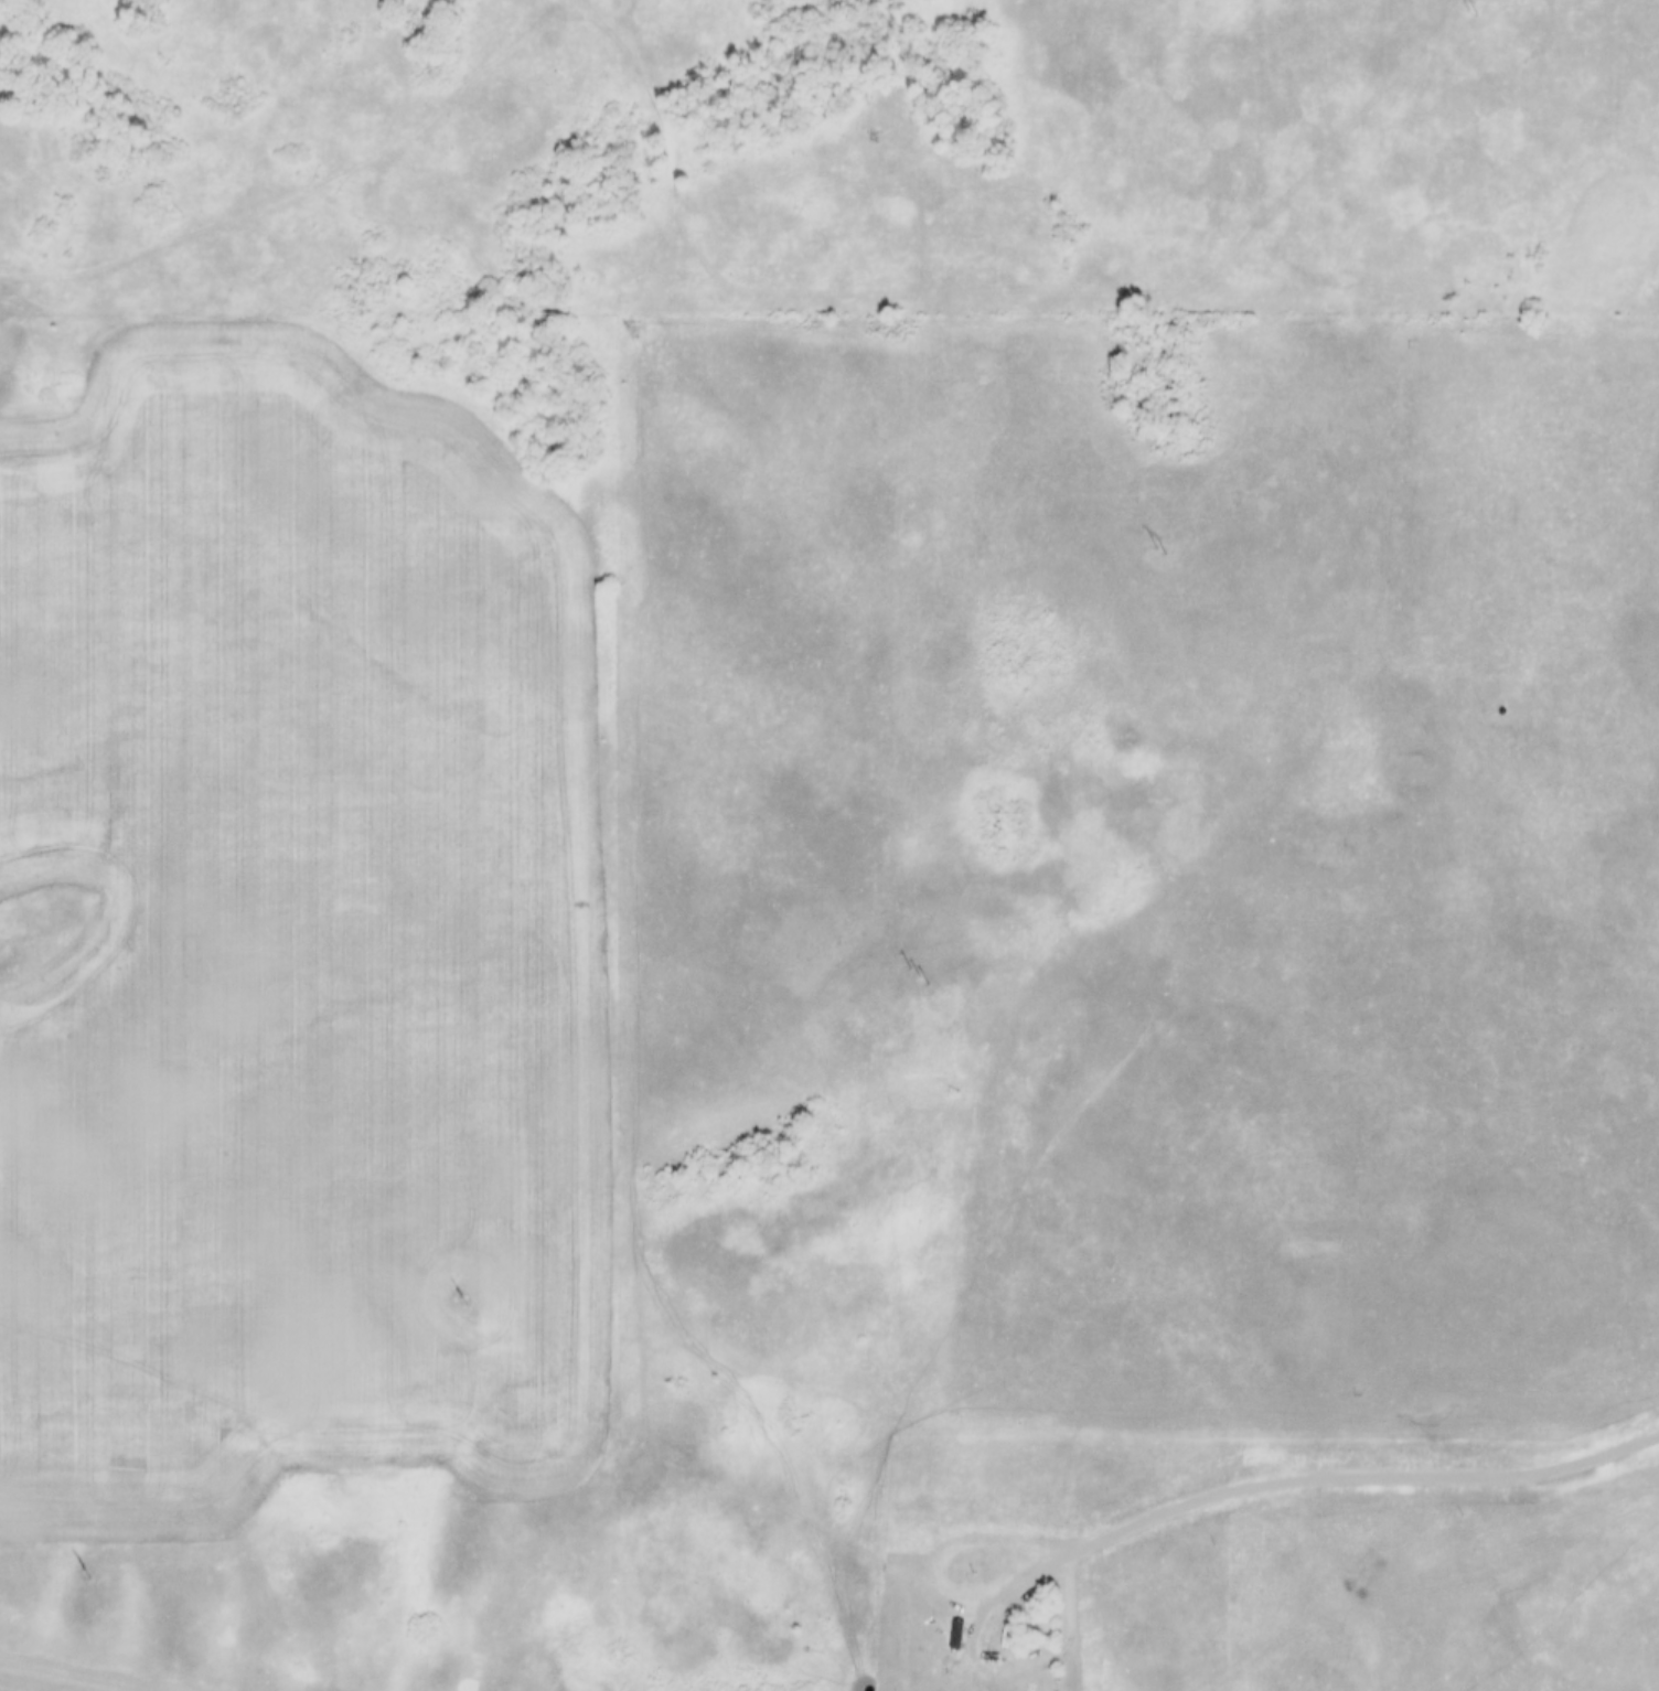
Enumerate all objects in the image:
road: (1358, 1473)
road: (951, 1578)
building: (951, 1624)
building: (998, 1626)
building: (986, 1638)

